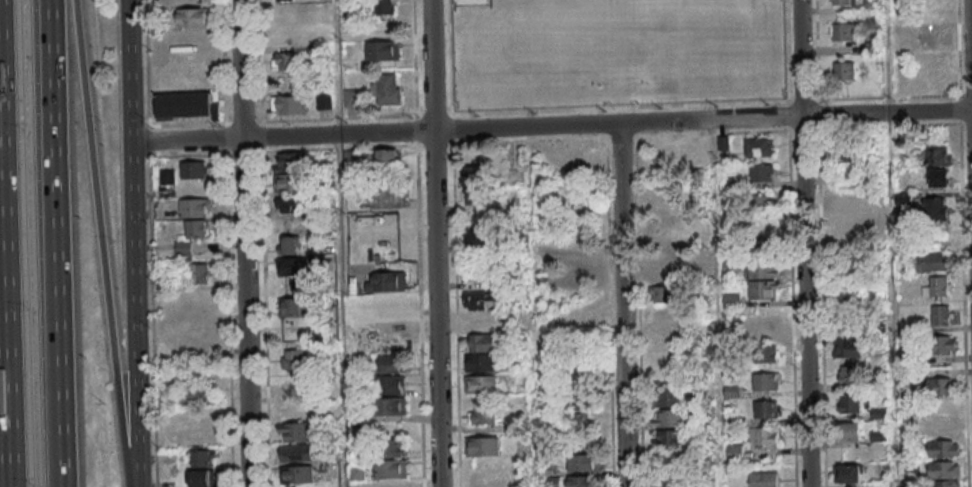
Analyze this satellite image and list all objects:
building: (282, 0)
building: (841, 2)
building: (384, 7)
building: (195, 17)
building: (842, 31)
building: (932, 39)
building: (382, 50)
road: (970, 54)
building: (285, 60)
road: (239, 69)
building: (844, 70)
building: (386, 89)
building: (323, 100)
building: (186, 105)
building: (288, 105)
road: (613, 107)
road: (551, 126)
building: (758, 147)
building: (843, 150)
building: (387, 157)
building: (940, 157)
building: (196, 169)
building: (290, 172)
building: (761, 172)
building: (480, 174)
building: (940, 177)
building: (478, 196)
building: (386, 198)
building: (761, 202)
building: (842, 203)
building: (290, 204)
building: (196, 208)
building: (936, 209)
building: (765, 226)
building: (199, 229)
building: (848, 229)
building: (663, 233)
building: (477, 237)
road: (50, 243)
road: (133, 243)
road: (434, 243)
road: (803, 243)
road: (99, 244)
building: (288, 244)
building: (767, 245)
building: (580, 255)
building: (931, 261)
building: (292, 266)
building: (764, 269)
building: (665, 272)
building: (200, 273)
building: (583, 275)
building: (386, 282)
building: (937, 286)
building: (764, 289)
building: (665, 294)
building: (480, 300)
building: (731, 300)
building: (388, 302)
road: (621, 305)
building: (291, 307)
road: (244, 312)
building: (942, 314)
building: (481, 321)
building: (388, 324)
building: (766, 326)
building: (201, 332)
building: (481, 342)
building: (363, 343)
building: (941, 344)
building: (849, 348)
building: (767, 354)
building: (292, 360)
building: (480, 362)
building: (391, 363)
building: (848, 374)
building: (765, 381)
building: (389, 384)
building: (480, 384)
building: (293, 386)
building: (941, 386)
road: (2, 389)
building: (197, 395)
building: (668, 397)
building: (581, 401)
building: (850, 404)
building: (389, 405)
building: (765, 409)
building: (297, 410)
building: (879, 413)
building: (483, 415)
building: (668, 418)
building: (579, 424)
building: (203, 426)
building: (297, 431)
building: (849, 431)
building: (764, 437)
building: (669, 439)
building: (482, 446)
building: (395, 447)
building: (943, 448)
building: (297, 452)
building: (735, 452)
building: (203, 458)
building: (584, 462)
building: (391, 468)
building: (944, 469)
building: (848, 473)
building: (298, 474)
building: (201, 478)
building: (484, 479)
building: (763, 479)
building: (580, 481)
building: (552, 482)
building: (391, 483)
building: (945, 483)

